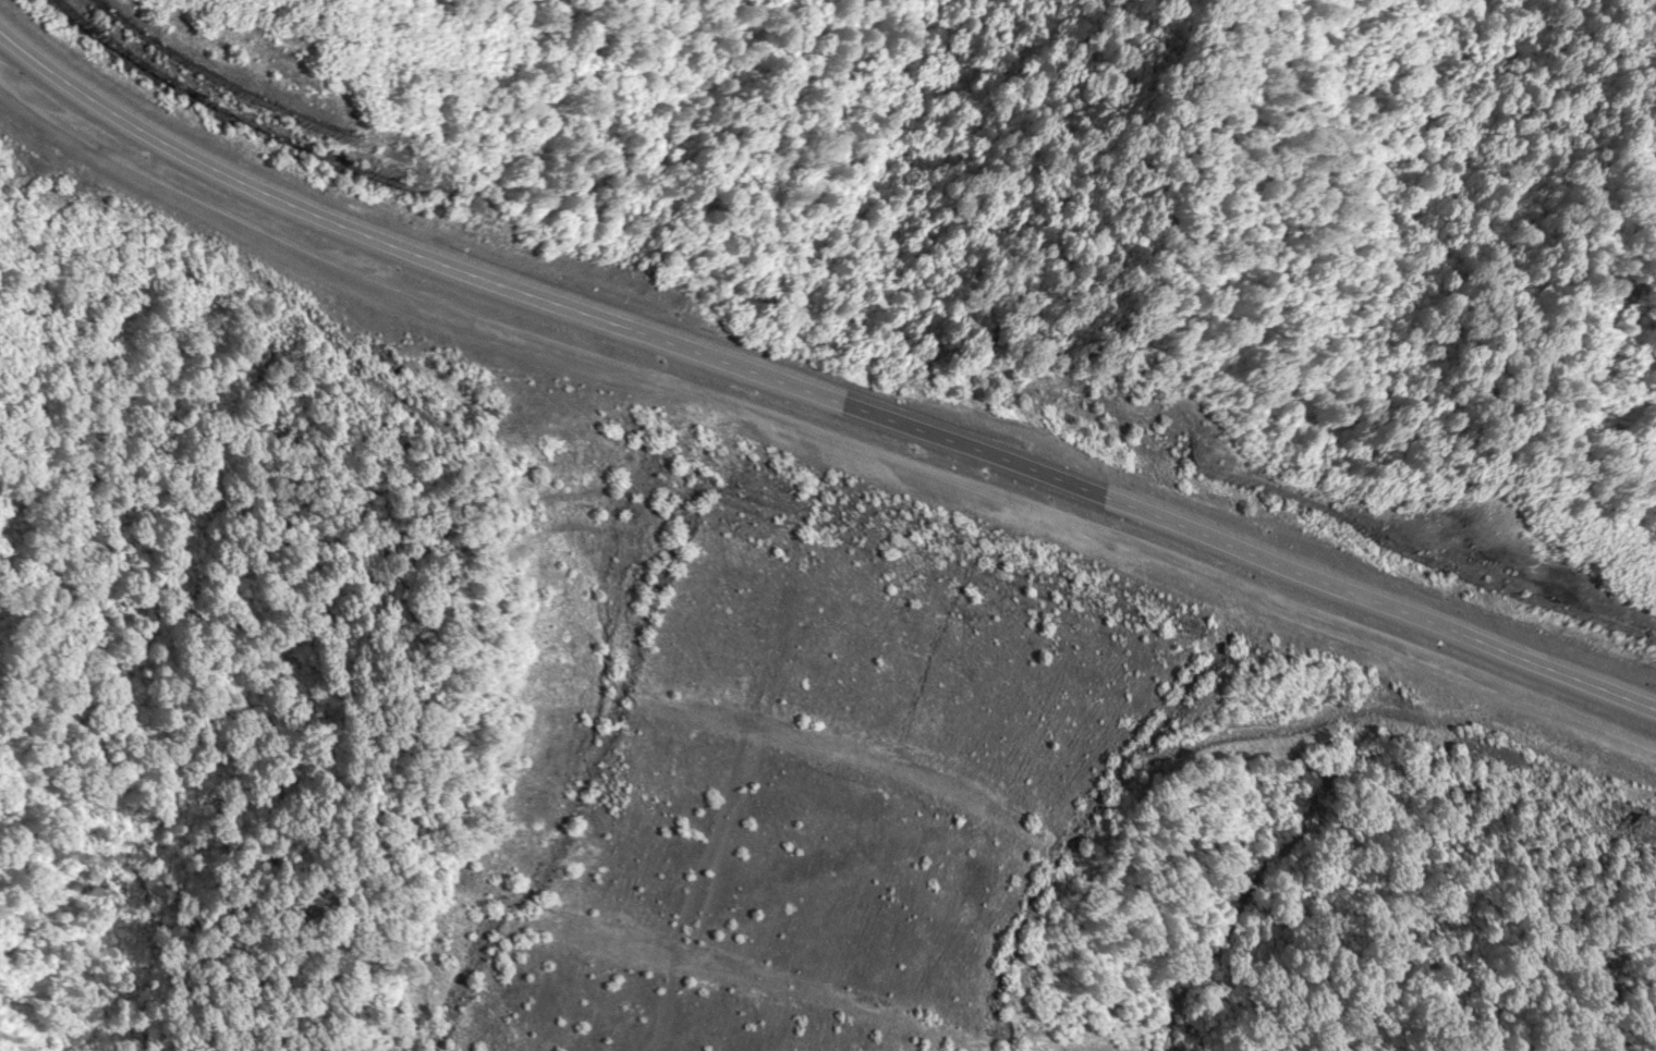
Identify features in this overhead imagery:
road: (809, 391)

